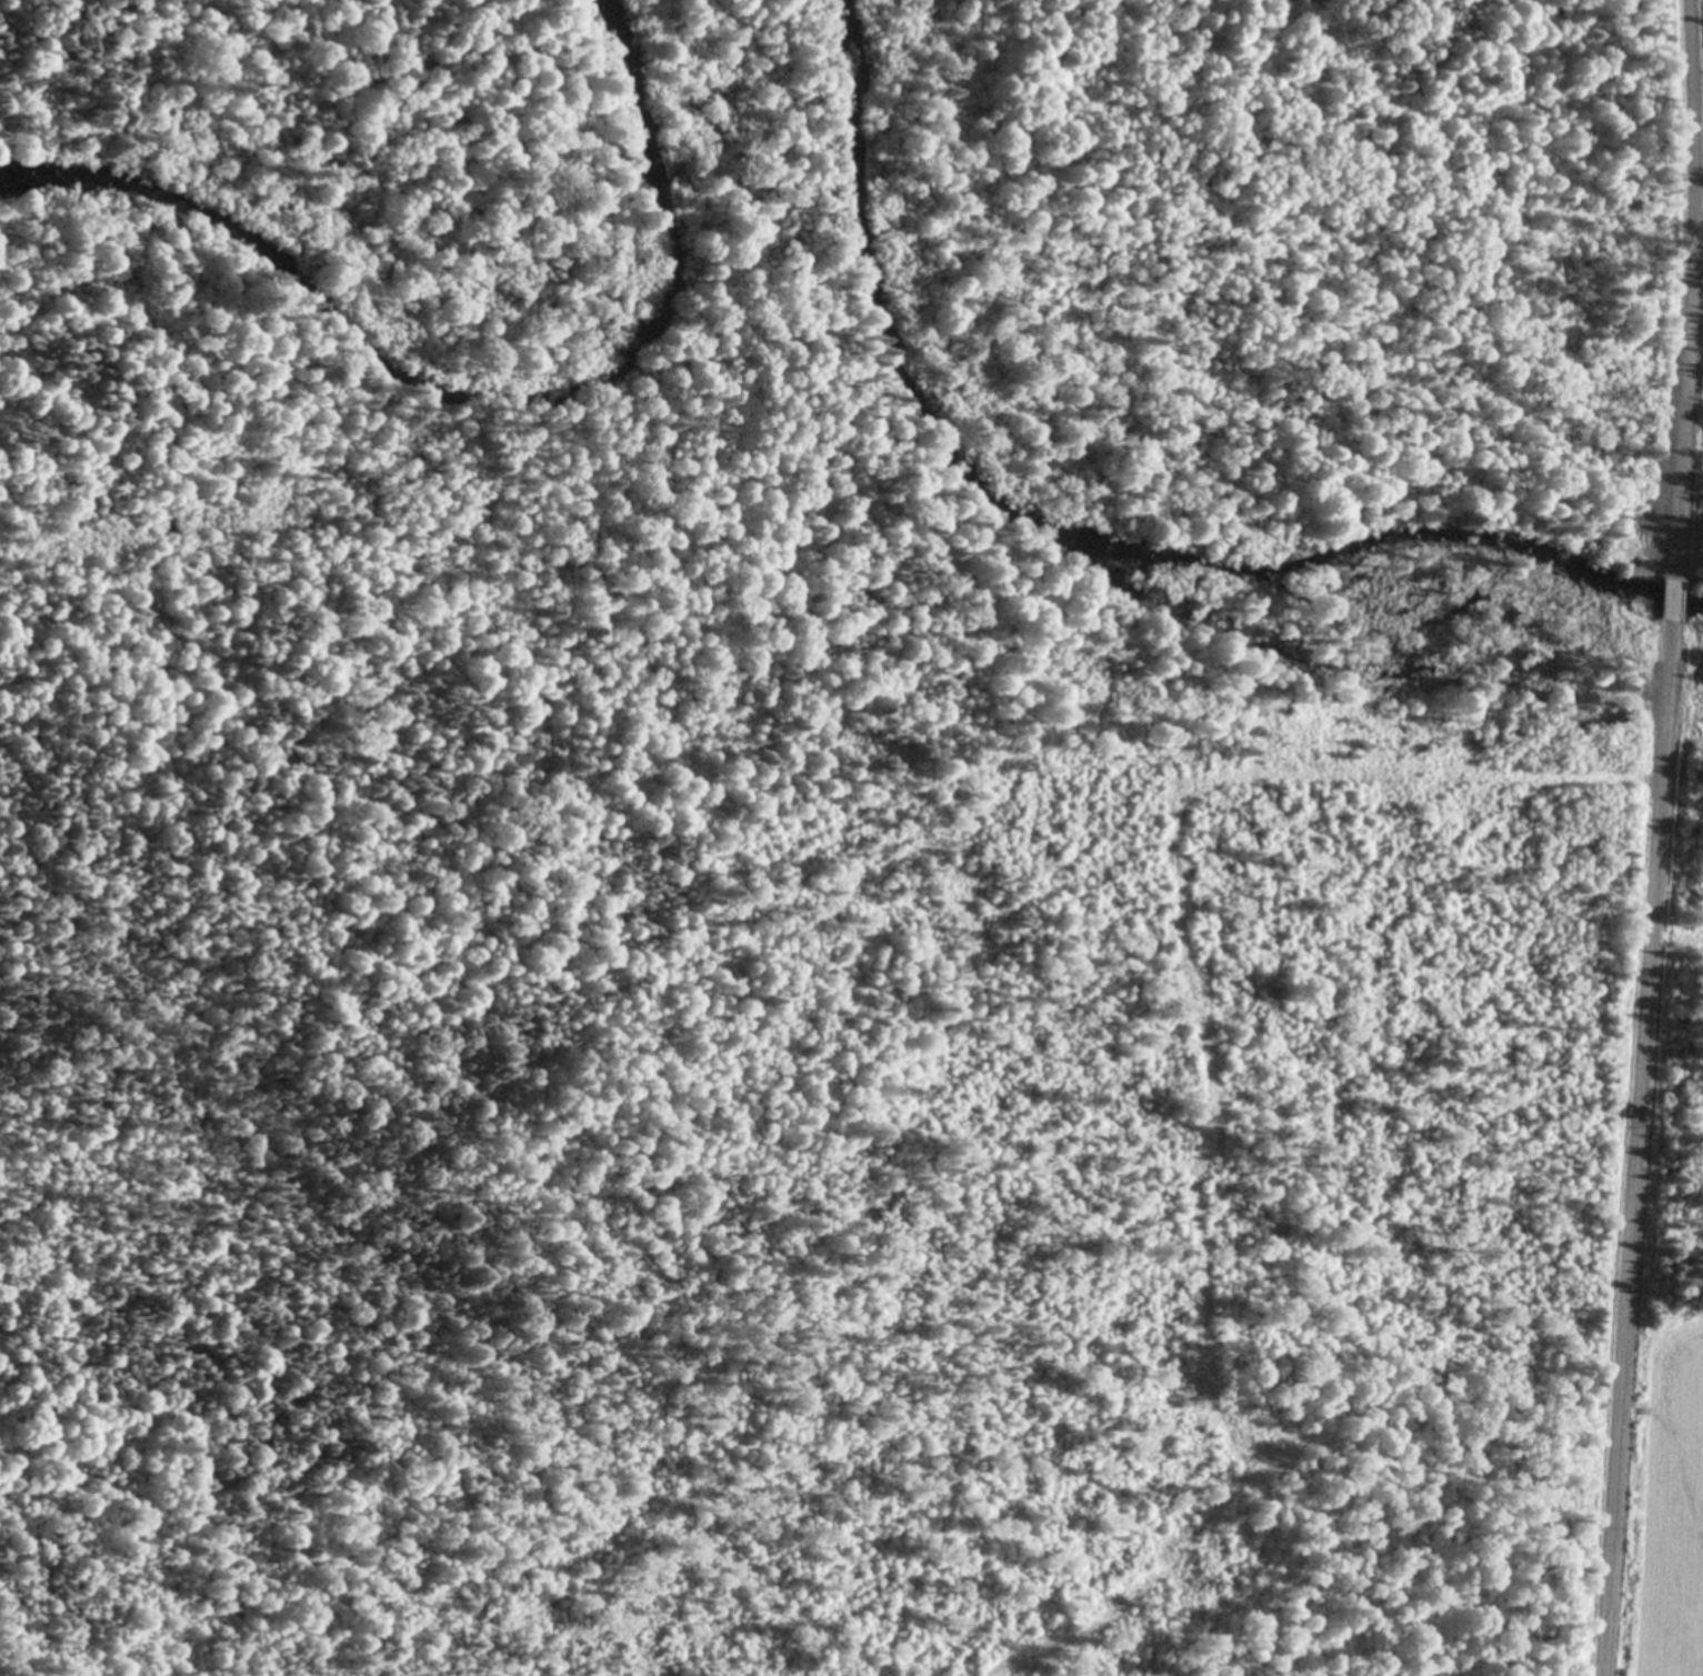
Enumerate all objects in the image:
road: (1699, 213)
road: (1691, 263)
river: (483, 393)
river: (1089, 539)
road: (1674, 552)
road: (1670, 598)
road: (1666, 640)
road: (1632, 1168)

